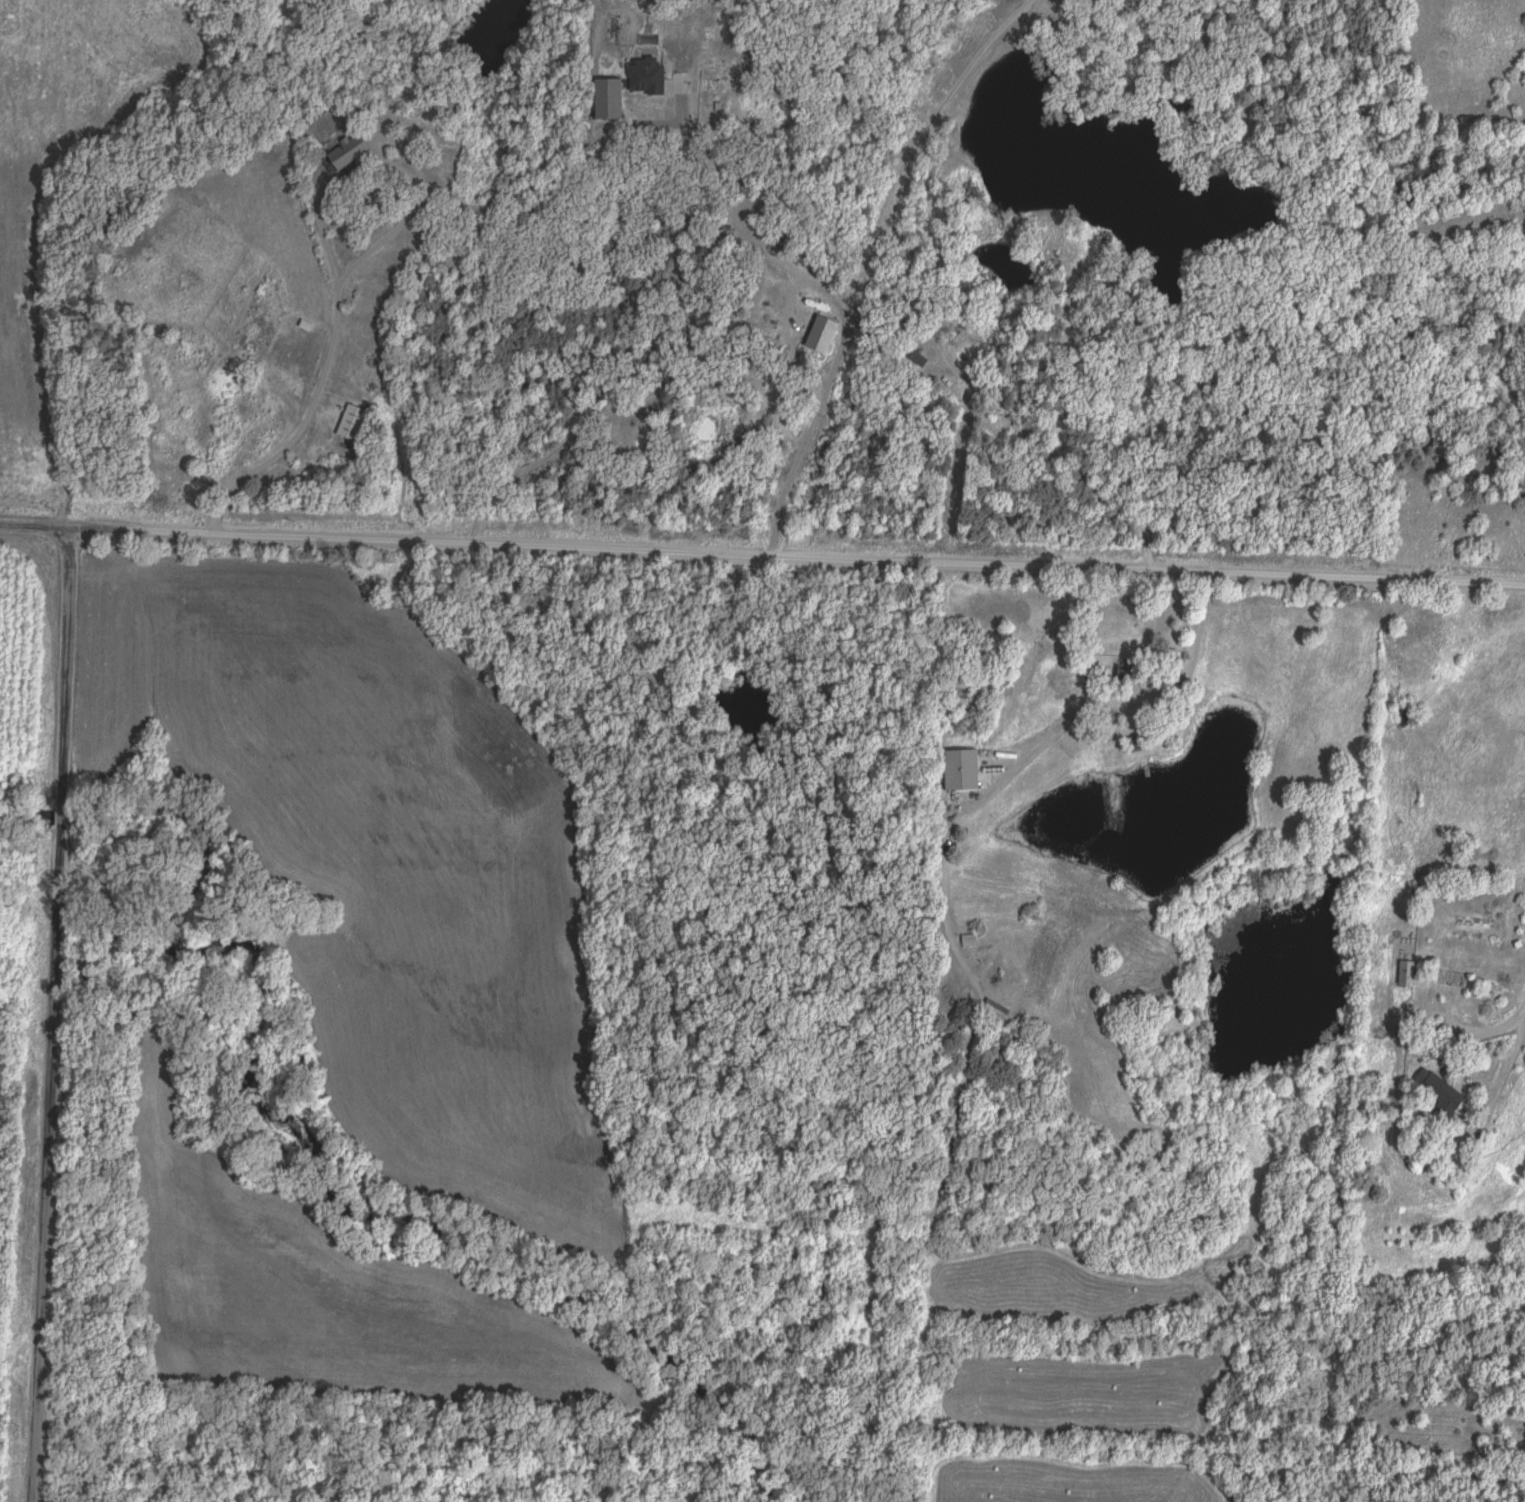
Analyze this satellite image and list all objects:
building: (347, 153)
road: (840, 342)
building: (917, 360)
road: (324, 370)
road: (669, 375)
building: (356, 425)
road: (36, 525)
road: (798, 559)
building: (1160, 655)
road: (1115, 699)
building: (1135, 744)
building: (957, 770)
building: (1407, 974)
road: (56, 1014)
road: (1498, 1026)
building: (1439, 1095)

